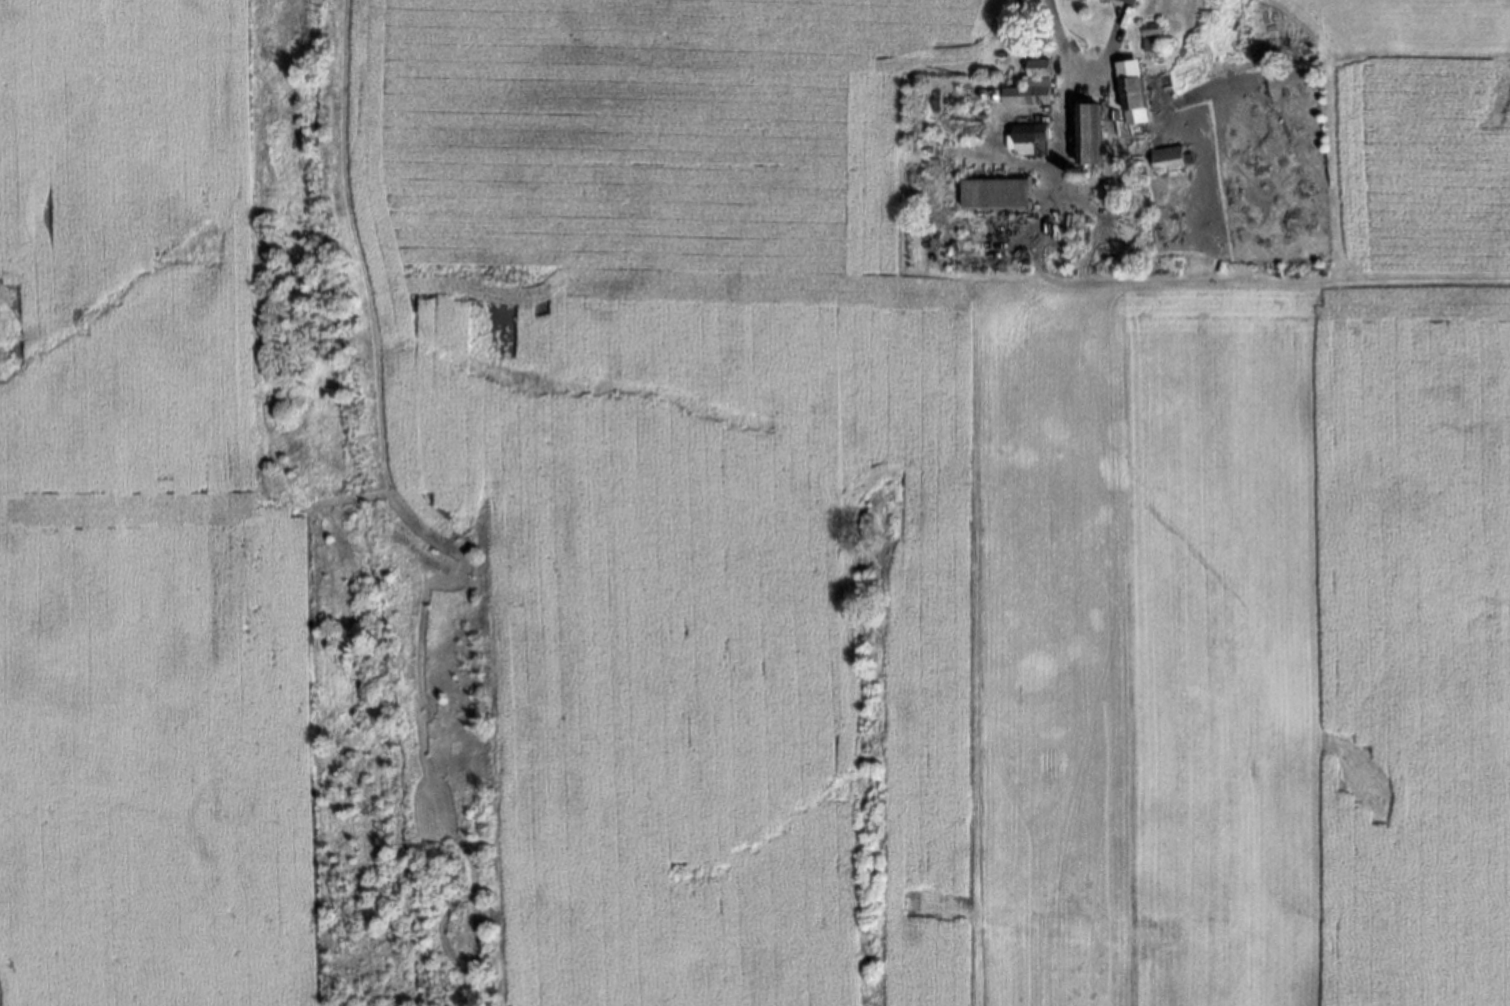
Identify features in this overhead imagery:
building: (1129, 1)
building: (1151, 35)
building: (1037, 65)
building: (979, 90)
building: (990, 90)
building: (1130, 91)
building: (1027, 92)
road: (1061, 103)
building: (1111, 112)
building: (1088, 130)
building: (1028, 137)
building: (1166, 156)
building: (1074, 174)
building: (994, 191)

